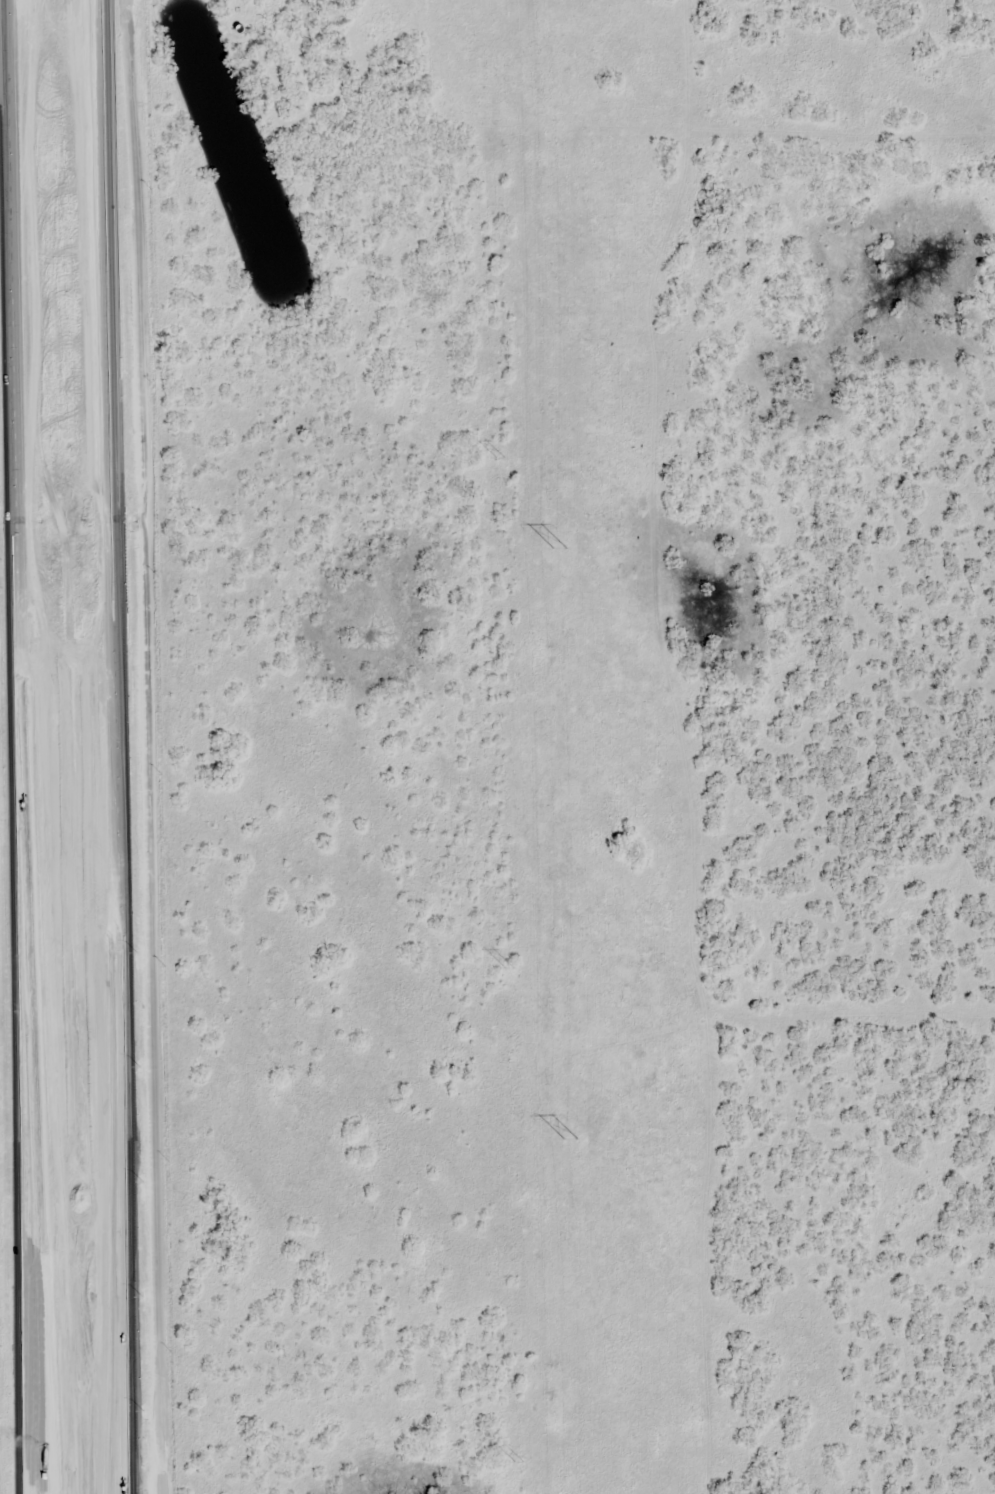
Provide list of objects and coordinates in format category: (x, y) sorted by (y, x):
power tower: (501, 456)
power tower: (562, 549)
road: (117, 575)
road: (20, 579)
road: (147, 746)
power tower: (512, 968)
power tower: (572, 1138)
road: (743, 1219)
road: (124, 1323)
road: (132, 1323)
road: (28, 1326)
road: (35, 1326)
power tower: (519, 1461)

